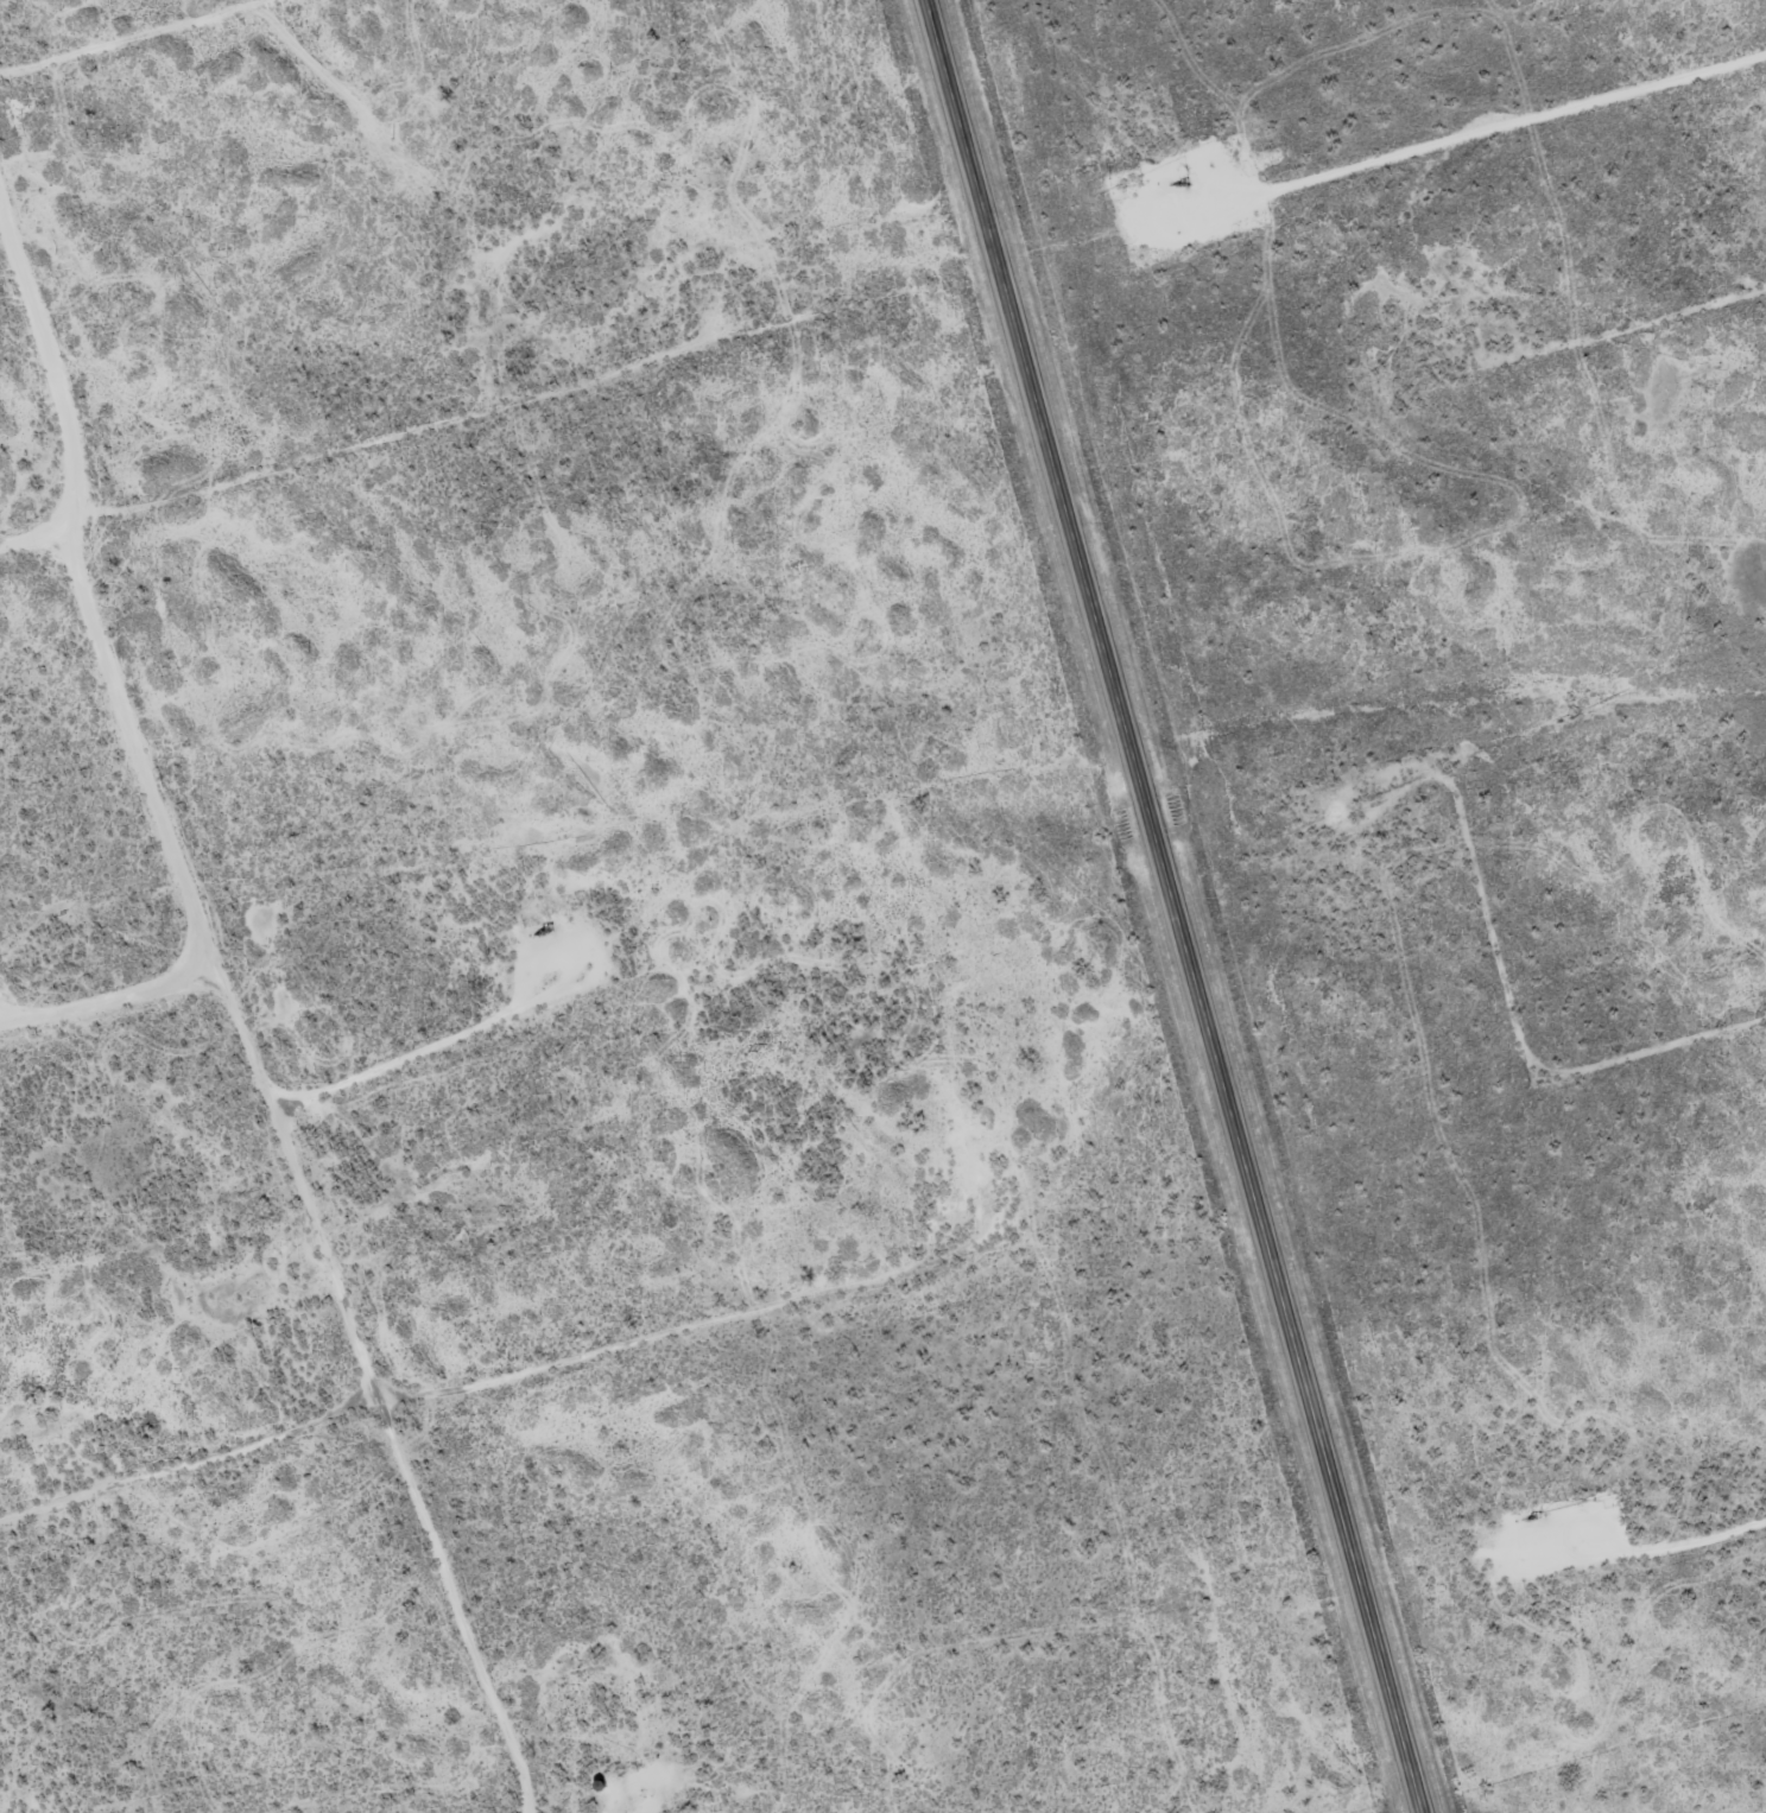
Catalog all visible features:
road: (141, 39)
road: (1418, 150)
road: (1635, 325)
road: (460, 416)
road: (1175, 906)
road: (1511, 993)
road: (235, 1007)
road: (696, 1327)
road: (1621, 1554)

